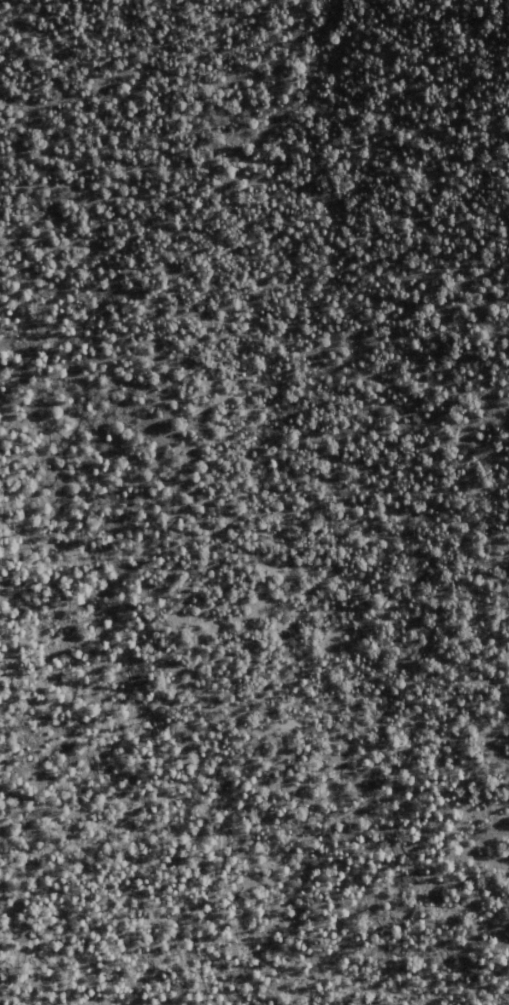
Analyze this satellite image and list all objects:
road: (252, 919)

